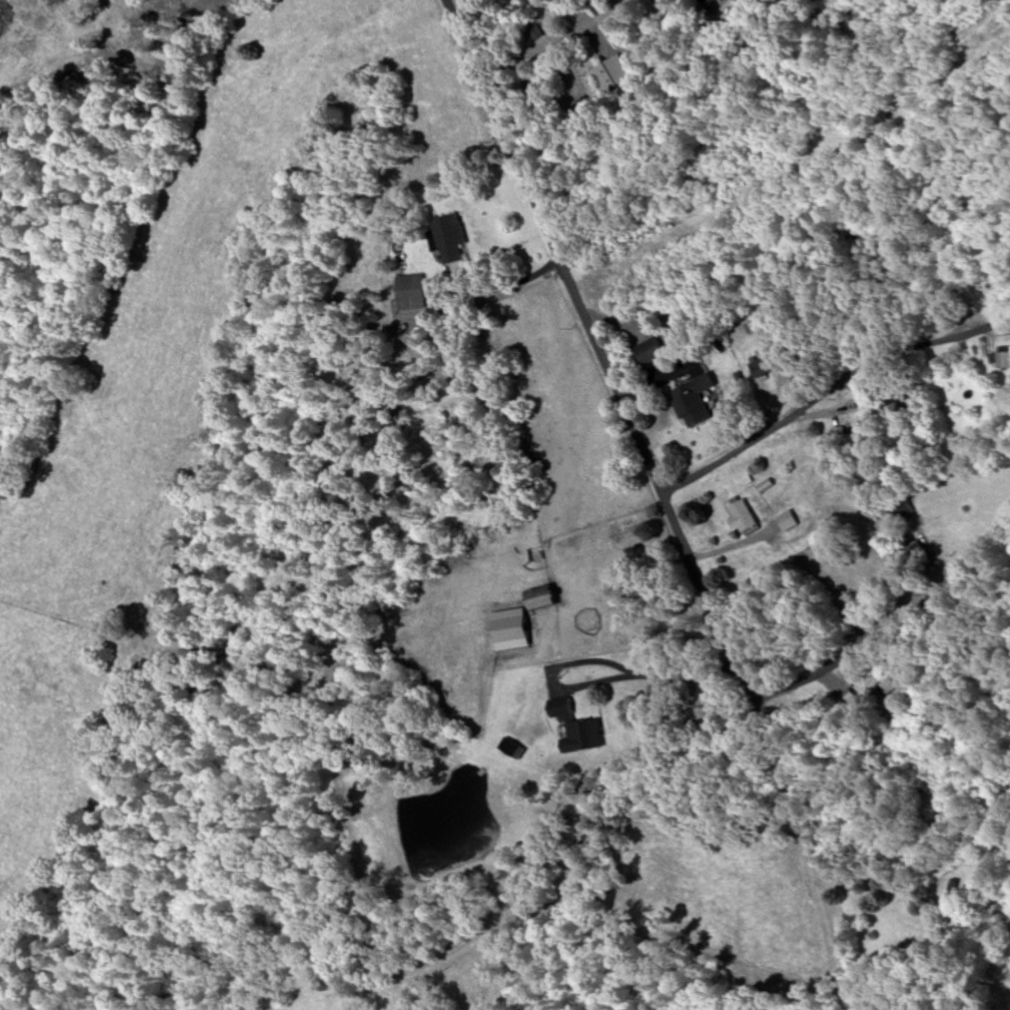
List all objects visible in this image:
building: (710, 2)
building: (613, 75)
building: (451, 239)
building: (411, 293)
road: (587, 319)
building: (650, 352)
building: (1001, 361)
building: (764, 370)
building: (694, 402)
building: (901, 404)
building: (844, 432)
road: (758, 441)
building: (743, 516)
building: (790, 521)
building: (543, 599)
road: (855, 658)
road: (738, 668)
building: (889, 685)
building: (577, 729)
road: (865, 854)
building: (954, 888)

